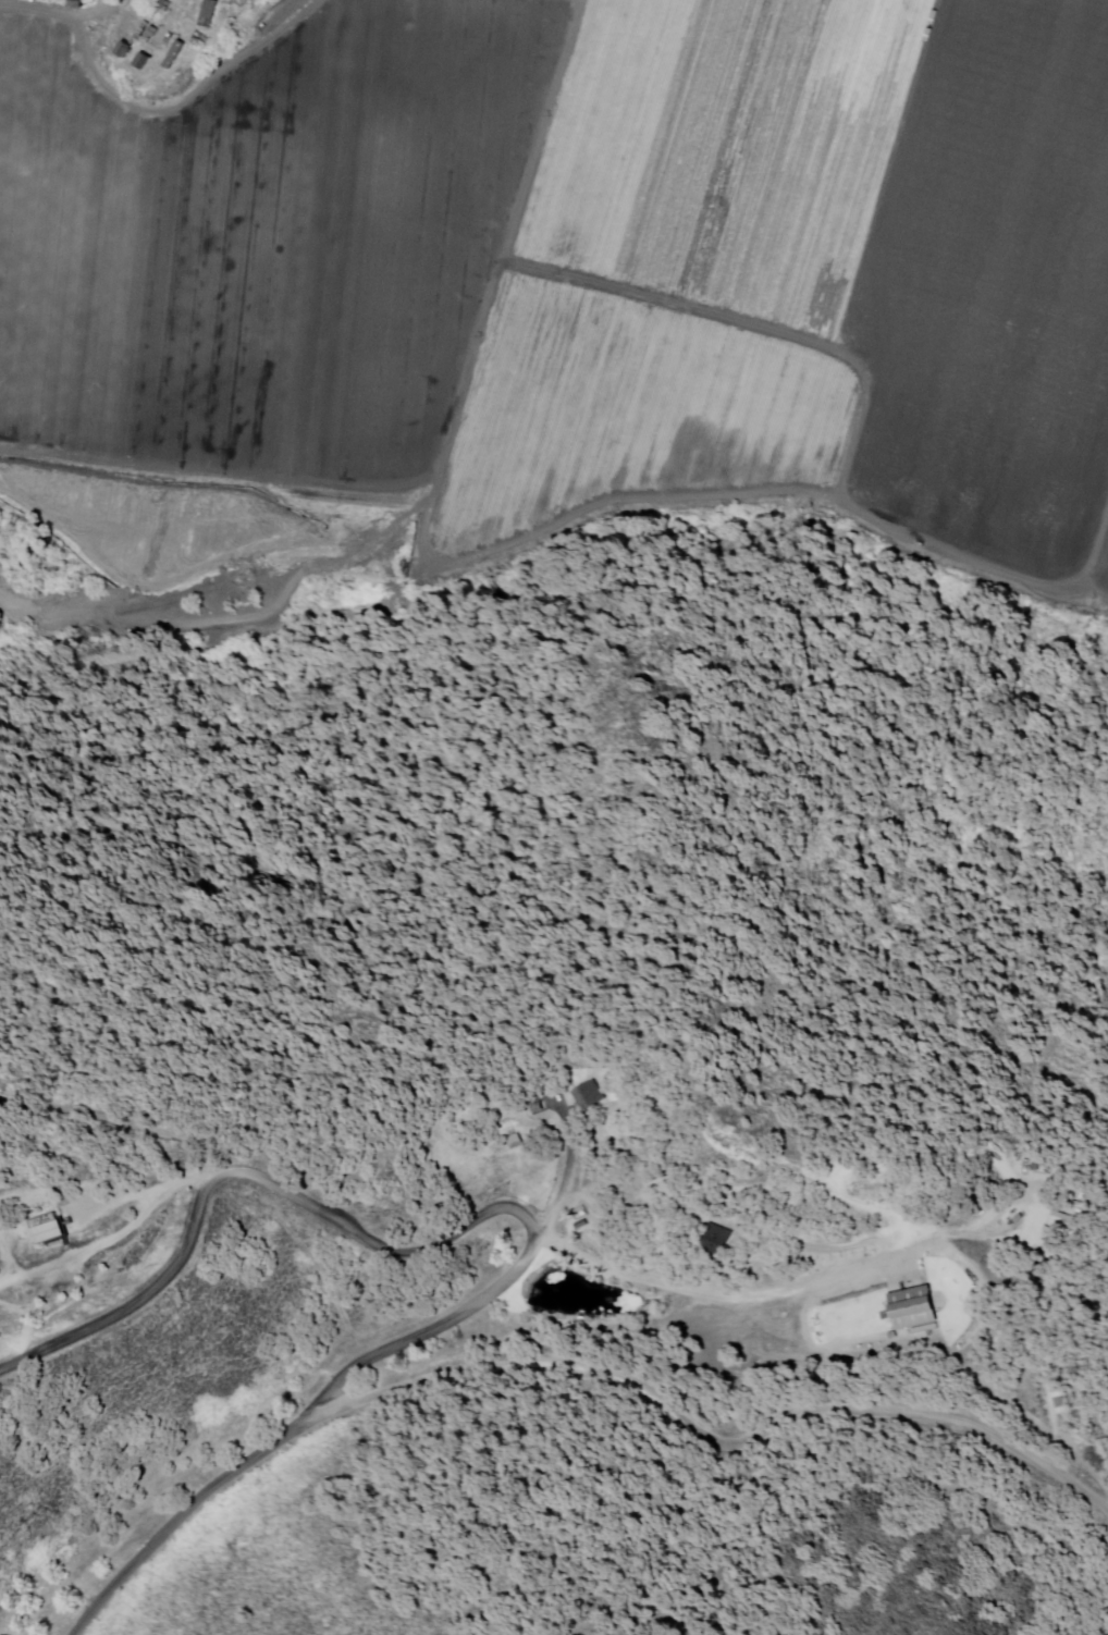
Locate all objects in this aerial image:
building: (73, 5)
building: (207, 20)
building: (145, 33)
crop: (258, 279)
crop: (811, 279)
building: (590, 1095)
road: (568, 1177)
building: (1020, 1215)
building: (1009, 1222)
building: (47, 1231)
building: (716, 1241)
road: (374, 1246)
road: (810, 1283)
building: (910, 1302)
road: (725, 1447)
road: (196, 1504)
road: (1098, 1515)

